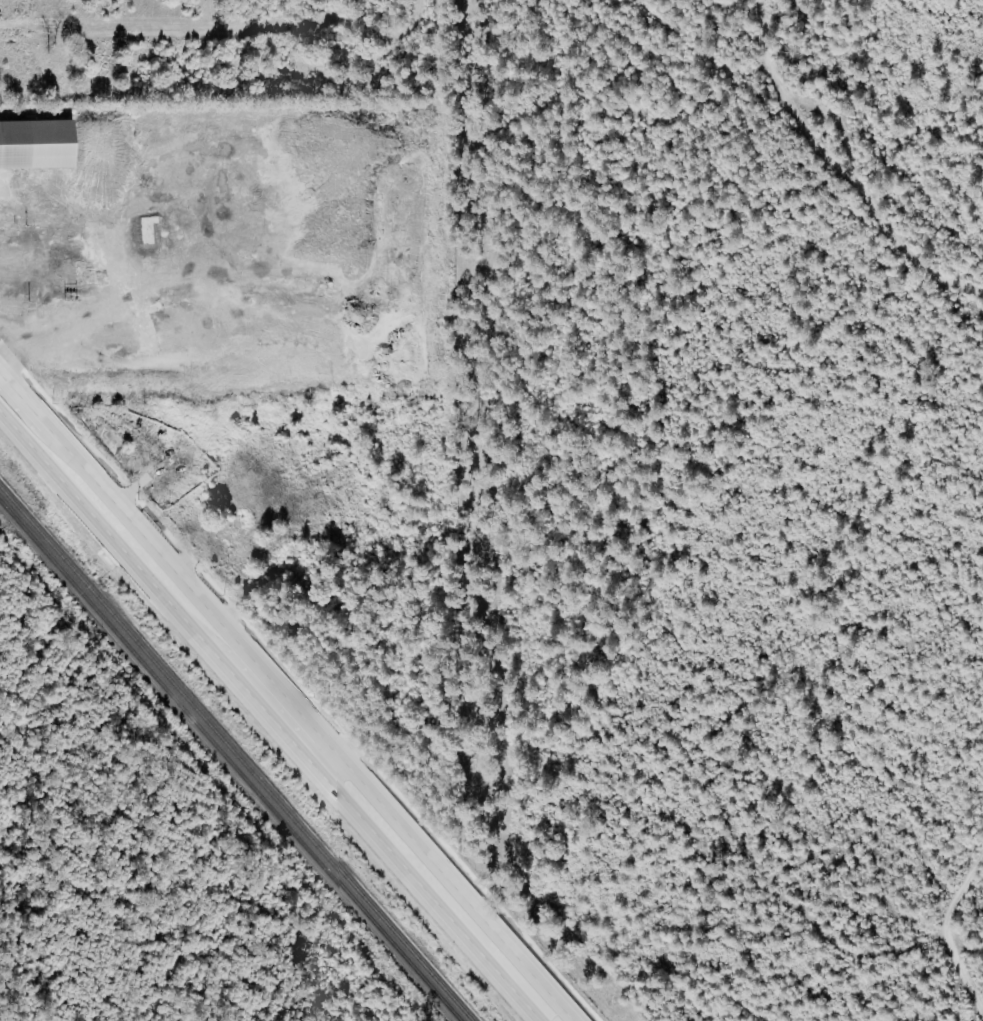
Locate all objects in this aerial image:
building: (33, 144)
building: (7, 231)
building: (33, 231)
road: (16, 343)
road: (282, 714)
railway: (235, 754)
railway: (230, 761)

